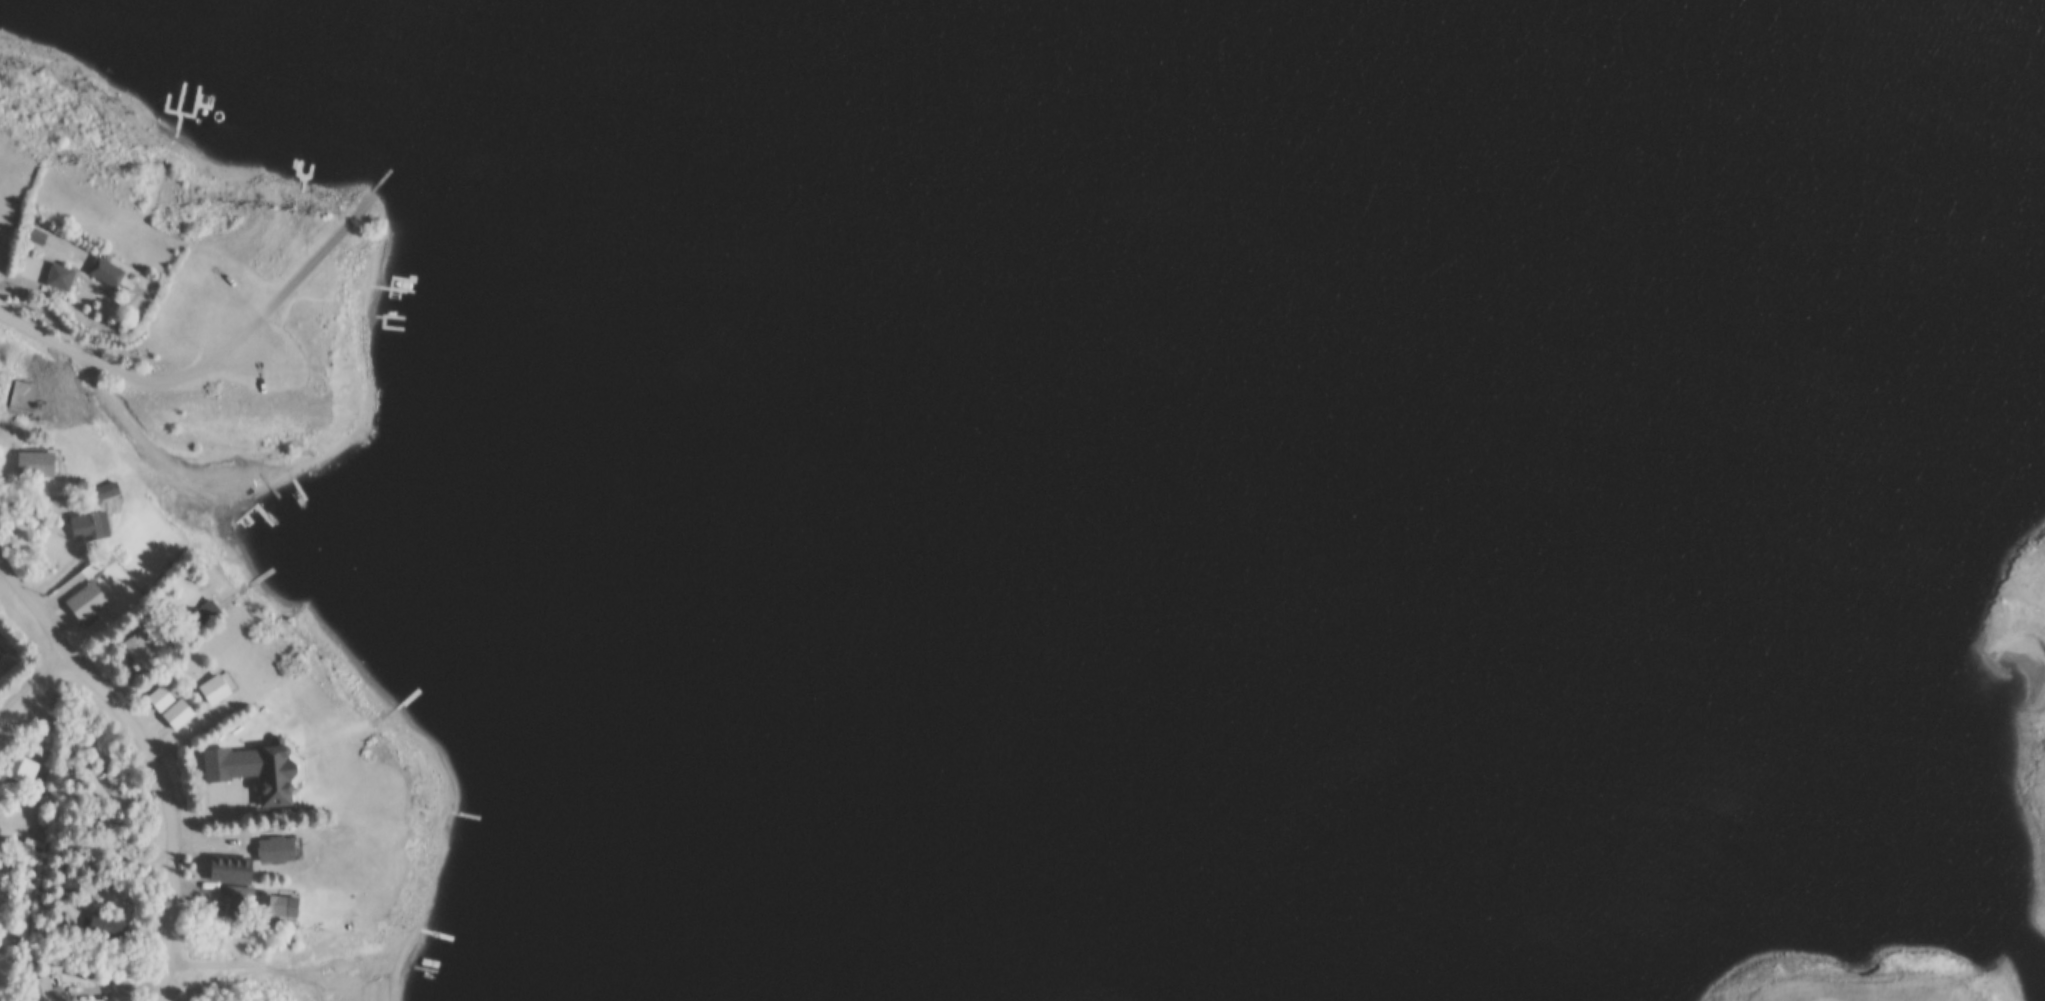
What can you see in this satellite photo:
pier: (359, 208)
building: (40, 234)
building: (110, 269)
pier: (351, 272)
building: (62, 275)
road: (295, 282)
pier: (371, 282)
pier: (373, 292)
pier: (360, 296)
pier: (371, 302)
pier: (369, 313)
road: (116, 367)
building: (13, 400)
building: (37, 463)
building: (102, 494)
building: (92, 526)
road: (72, 588)
building: (88, 601)
road: (39, 607)
building: (141, 646)
building: (193, 675)
building: (218, 688)
road: (42, 694)
building: (163, 698)
building: (181, 713)
building: (258, 768)
building: (22, 769)
road: (173, 813)
building: (282, 848)
building: (233, 868)
building: (5, 894)
building: (215, 896)
building: (240, 896)
building: (274, 906)
building: (241, 914)
building: (2, 920)
building: (108, 925)
park: (1862, 986)
building: (47, 991)

